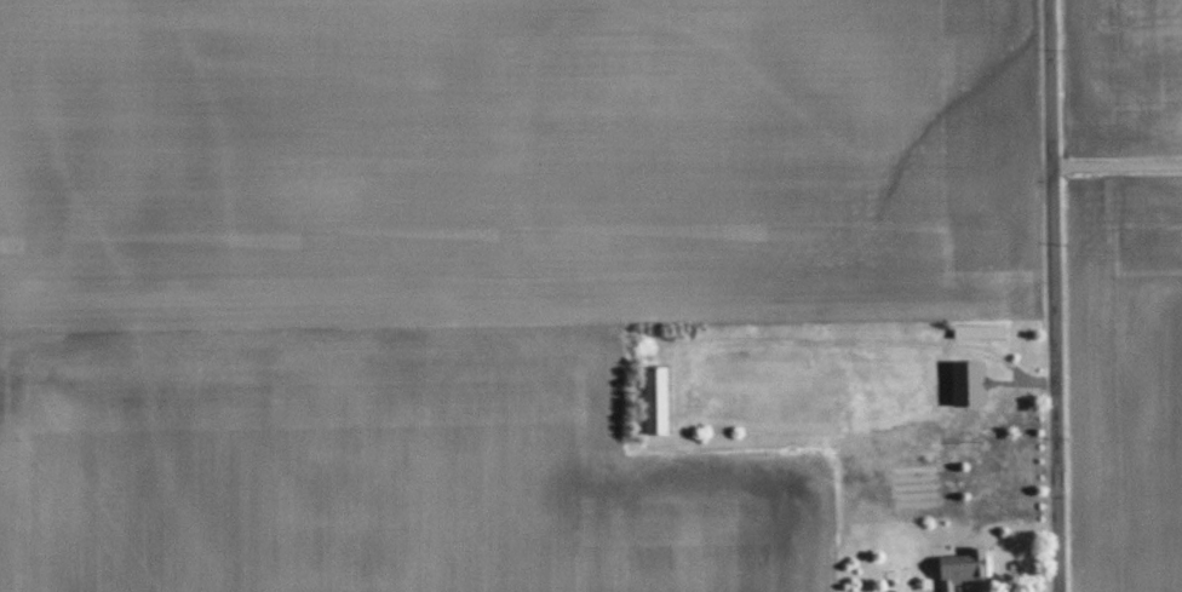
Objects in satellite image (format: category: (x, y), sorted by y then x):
road: (1056, 295)
building: (966, 384)
building: (654, 401)
building: (963, 569)

